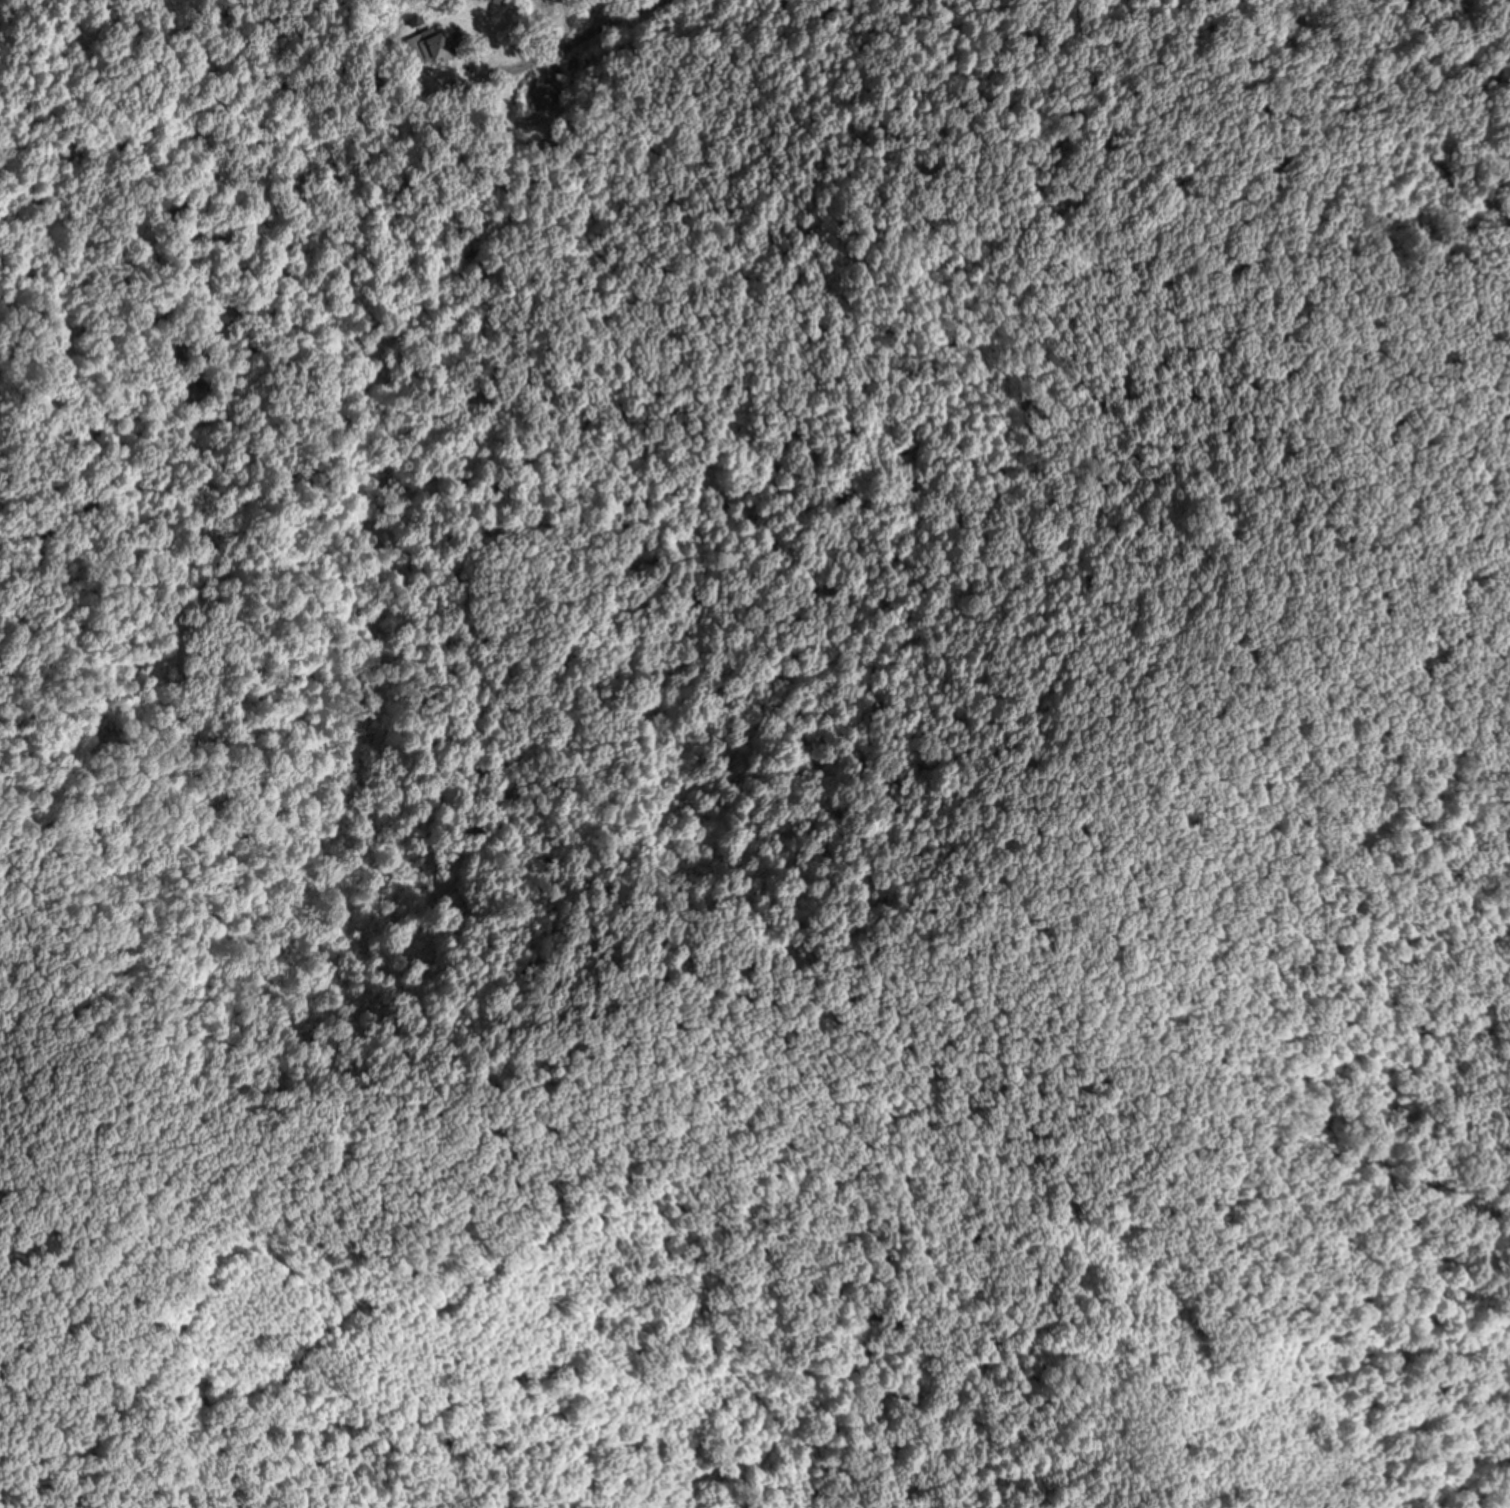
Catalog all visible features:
building: (494, 1)
building: (432, 43)
building: (542, 87)

